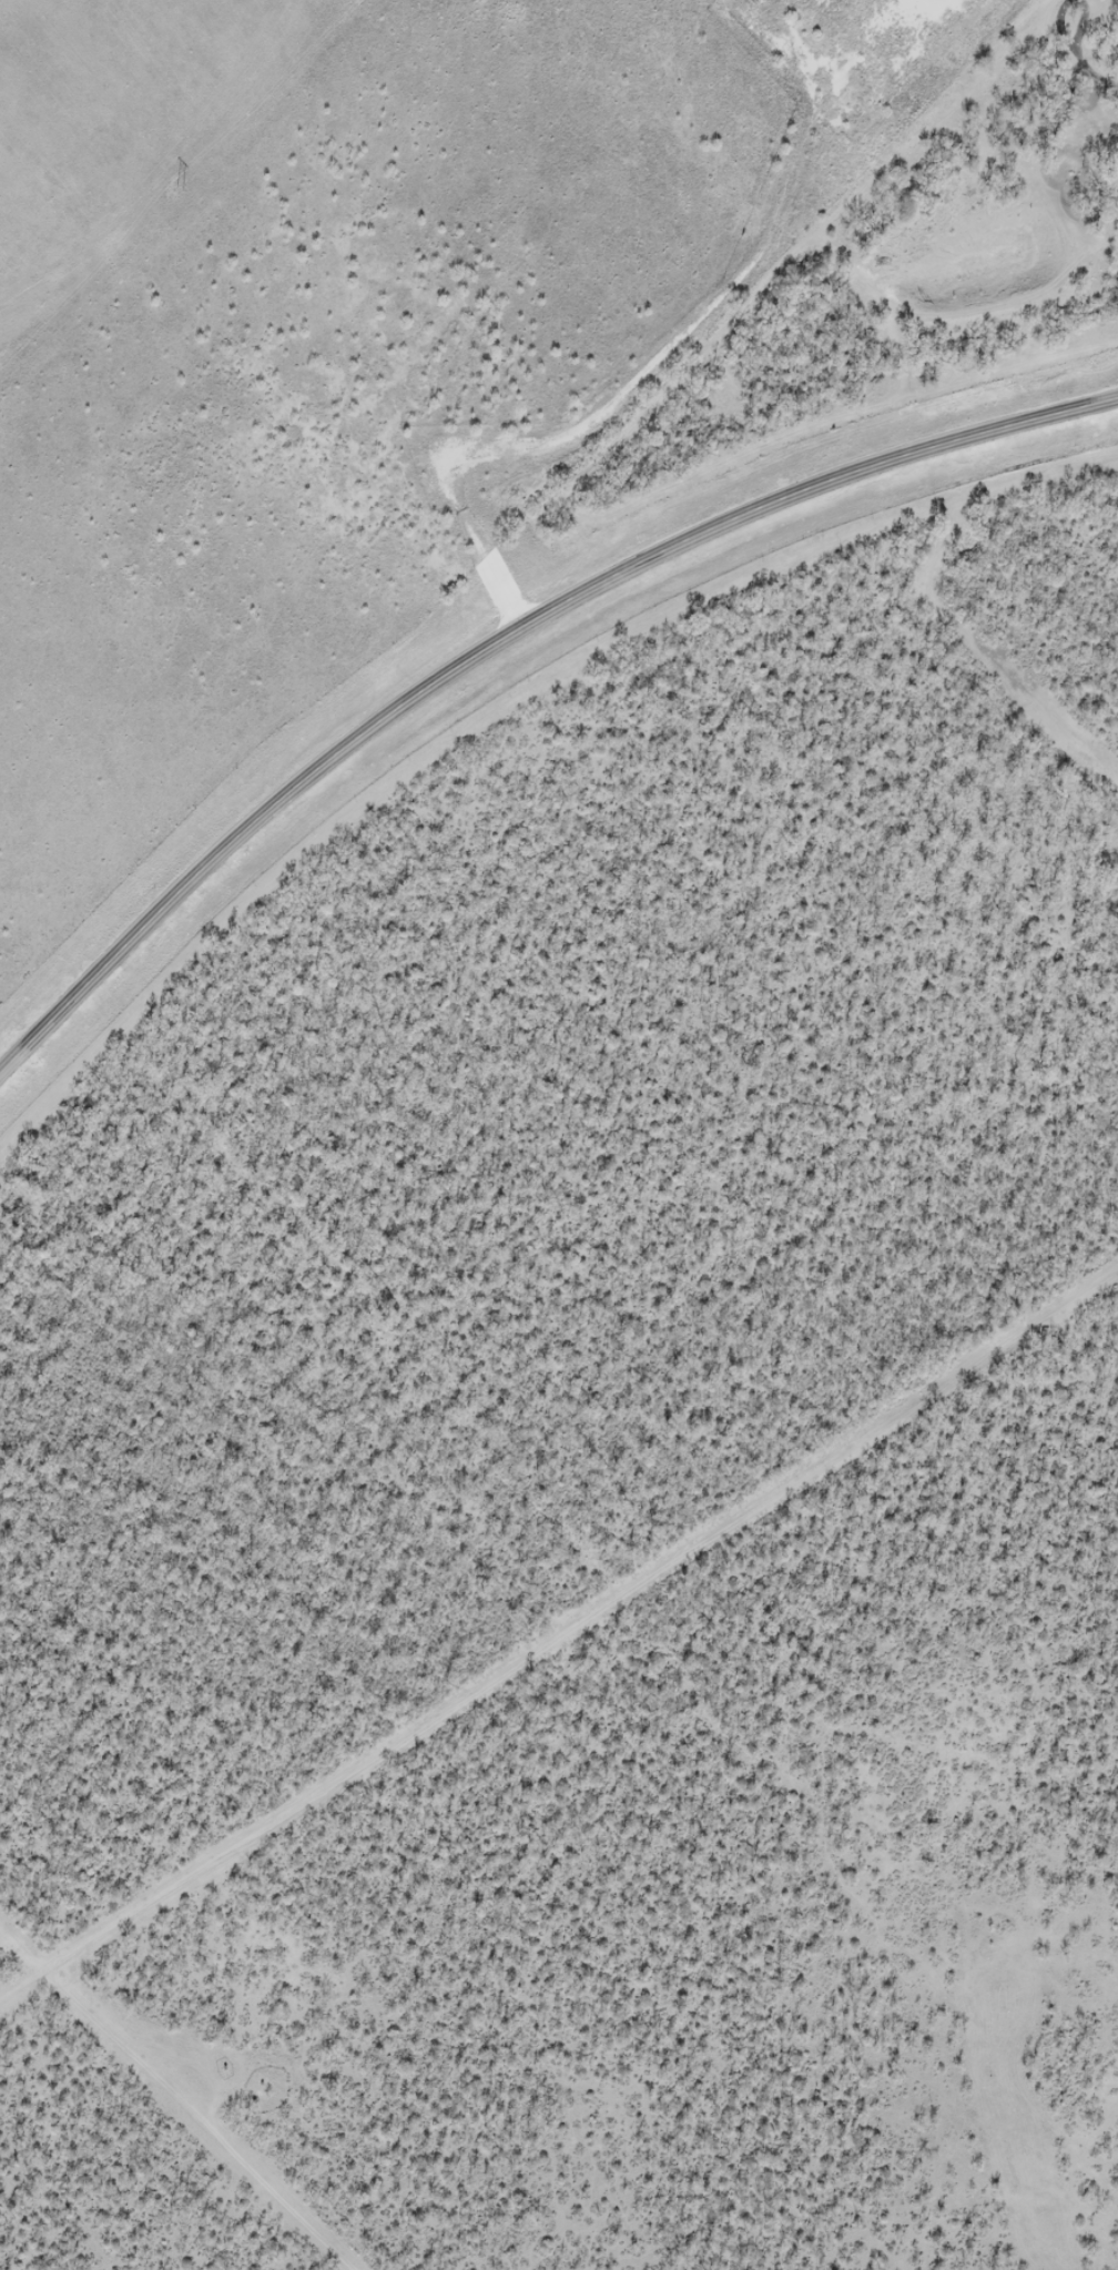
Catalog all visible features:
power tower: (177, 190)
road: (854, 265)
road: (501, 640)

